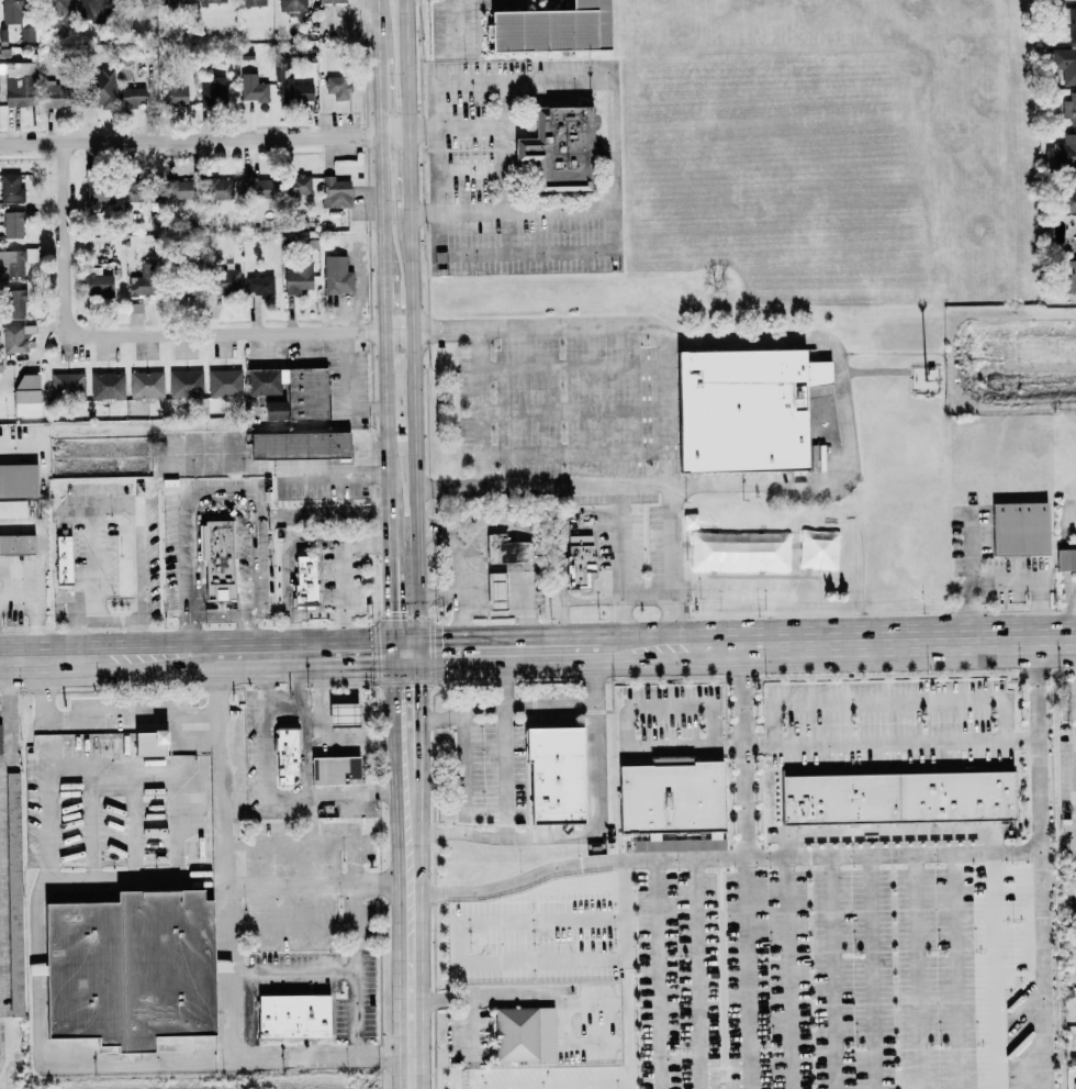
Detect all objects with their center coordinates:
building: (1061, 0)
building: (175, 1)
building: (211, 1)
building: (330, 1)
building: (250, 2)
building: (291, 5)
building: (90, 10)
building: (11, 11)
building: (1068, 21)
road: (379, 27)
building: (550, 29)
building: (1064, 63)
road: (407, 65)
building: (15, 84)
building: (336, 87)
building: (99, 88)
building: (251, 88)
building: (210, 89)
building: (295, 91)
building: (53, 96)
road: (380, 96)
building: (132, 97)
building: (1069, 109)
road: (614, 119)
road: (458, 129)
road: (395, 132)
road: (190, 138)
road: (506, 145)
building: (558, 149)
building: (1064, 153)
road: (411, 168)
building: (295, 186)
building: (10, 188)
building: (221, 188)
building: (255, 188)
building: (177, 189)
building: (334, 192)
building: (136, 193)
building: (98, 198)
building: (1068, 198)
road: (382, 203)
road: (514, 211)
building: (12, 224)
road: (66, 238)
building: (1075, 244)
building: (14, 262)
building: (335, 276)
building: (1067, 276)
building: (296, 278)
building: (98, 284)
building: (223, 284)
building: (259, 286)
building: (182, 292)
road: (383, 302)
building: (12, 303)
road: (399, 331)
road: (225, 333)
building: (15, 337)
building: (0, 366)
road: (665, 366)
building: (184, 384)
building: (223, 384)
building: (144, 385)
building: (66, 386)
building: (103, 386)
road: (346, 388)
building: (292, 390)
building: (25, 395)
building: (742, 410)
building: (272, 411)
road: (415, 430)
road: (385, 444)
building: (298, 445)
road: (12, 448)
road: (511, 458)
road: (280, 470)
road: (483, 473)
building: (16, 480)
road: (802, 485)
road: (518, 486)
road: (105, 507)
building: (12, 509)
road: (323, 514)
building: (1018, 529)
building: (15, 545)
road: (192, 547)
building: (505, 551)
road: (533, 556)
building: (214, 559)
building: (1065, 559)
building: (60, 560)
building: (578, 560)
road: (461, 566)
road: (343, 578)
building: (302, 581)
road: (999, 581)
road: (139, 582)
road: (71, 584)
road: (440, 591)
building: (494, 591)
road: (20, 596)
road: (647, 596)
road: (593, 601)
road: (390, 605)
road: (1069, 611)
road: (1052, 613)
road: (562, 625)
road: (38, 632)
road: (874, 643)
road: (648, 648)
road: (612, 649)
road: (495, 652)
traffic signals: (391, 654)
road: (302, 655)
road: (108, 659)
road: (507, 699)
road: (887, 702)
road: (581, 704)
road: (670, 707)
road: (266, 708)
road: (352, 709)
road: (133, 713)
building: (340, 715)
road: (9, 716)
road: (394, 726)
road: (422, 726)
road: (831, 743)
building: (146, 744)
building: (284, 757)
road: (88, 767)
building: (333, 771)
road: (507, 771)
building: (551, 775)
road: (466, 780)
road: (89, 789)
road: (135, 796)
building: (669, 796)
road: (176, 797)
building: (894, 798)
road: (91, 823)
road: (593, 830)
road: (292, 842)
road: (786, 844)
building: (658, 847)
road: (721, 857)
road: (229, 858)
road: (356, 860)
road: (45, 864)
road: (1041, 864)
road: (746, 867)
road: (226, 880)
building: (12, 893)
road: (294, 924)
road: (407, 944)
building: (125, 968)
road: (358, 969)
building: (31, 970)
road: (955, 970)
road: (832, 971)
road: (872, 971)
road: (917, 971)
road: (659, 974)
road: (696, 974)
road: (296, 975)
road: (524, 994)
building: (290, 1015)
road: (470, 1024)
building: (523, 1033)
road: (1, 1038)
road: (225, 1062)

